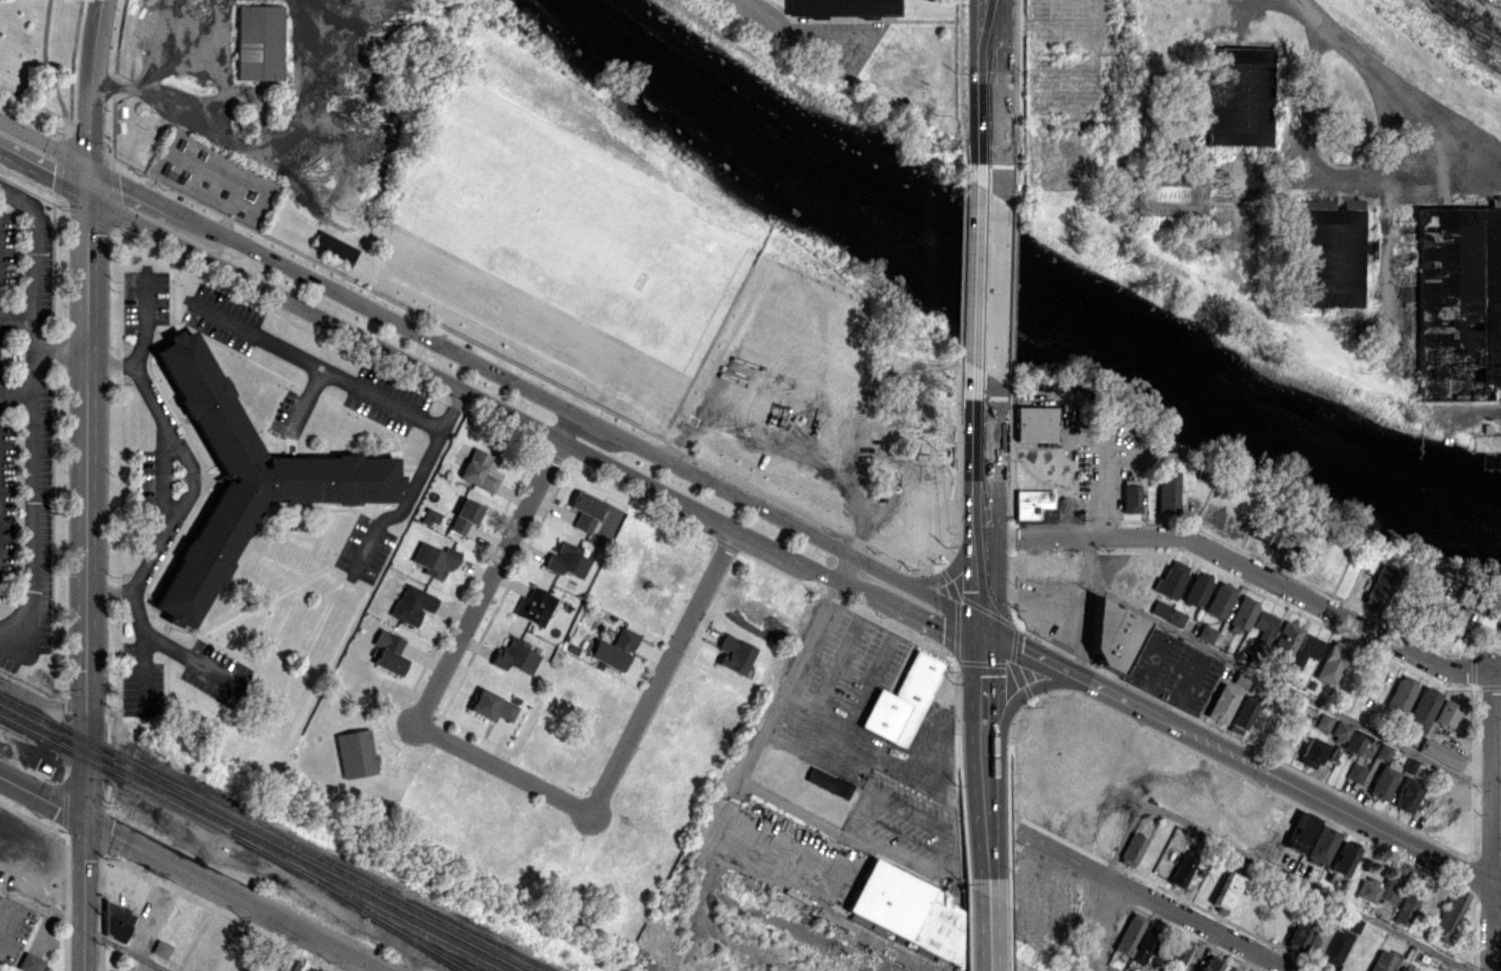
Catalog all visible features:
building: (845, 5)
road: (798, 27)
building: (258, 41)
park: (41, 58)
road: (1399, 78)
road: (990, 82)
building: (1240, 90)
road: (90, 99)
road: (44, 142)
traffic signals: (88, 165)
road: (44, 176)
road: (137, 189)
building: (1168, 193)
traffic signals: (88, 199)
park: (550, 241)
building: (1331, 246)
building: (333, 248)
road: (34, 261)
road: (987, 282)
river: (1028, 289)
building: (1460, 294)
road: (17, 318)
road: (140, 341)
road: (61, 351)
road: (316, 364)
road: (17, 391)
road: (481, 399)
road: (586, 420)
building: (1032, 423)
road: (984, 459)
building: (1166, 459)
building: (476, 470)
building: (239, 476)
road: (413, 479)
building: (1166, 492)
road: (35, 496)
road: (163, 496)
building: (1128, 498)
building: (1029, 502)
building: (584, 511)
building: (463, 515)
building: (429, 516)
building: (434, 559)
road: (956, 563)
road: (493, 568)
road: (1250, 570)
road: (983, 575)
building: (1169, 578)
road: (86, 584)
building: (1381, 586)
building: (1195, 588)
building: (1218, 599)
building: (411, 604)
building: (534, 606)
road: (1083, 607)
building: (1158, 609)
building: (1241, 612)
building: (1174, 617)
building: (1449, 620)
road: (927, 622)
building: (1261, 628)
traffic signals: (983, 631)
building: (1204, 632)
building: (1498, 632)
building: (1109, 633)
road: (160, 639)
building: (1283, 641)
building: (613, 649)
building: (1304, 649)
building: (388, 651)
building: (733, 654)
building: (514, 655)
building: (1330, 662)
road: (145, 665)
road: (834, 669)
road: (662, 670)
road: (1070, 674)
building: (1239, 679)
road: (868, 686)
road: (1287, 688)
road: (982, 689)
building: (1399, 694)
building: (901, 700)
road: (1015, 700)
building: (1221, 702)
building: (491, 706)
building: (1421, 708)
building: (1446, 713)
building: (1239, 716)
building: (1322, 721)
building: (1338, 730)
building: (1353, 741)
road: (856, 743)
road: (921, 745)
building: (1308, 750)
building: (355, 753)
building: (1440, 754)
road: (502, 768)
road: (1495, 771)
building: (1354, 772)
building: (1383, 780)
building: (828, 782)
road: (745, 785)
building: (1406, 795)
road: (42, 796)
road: (1328, 803)
traffic signals: (85, 818)
road: (1489, 819)
road: (982, 821)
building: (1299, 832)
railway: (268, 833)
road: (747, 837)
railway: (257, 839)
railway: (248, 844)
building: (1321, 845)
building: (1131, 849)
road: (915, 856)
building: (1342, 858)
building: (1180, 870)
building: (1393, 881)
road: (1103, 883)
road: (1307, 888)
building: (1366, 889)
building: (1225, 890)
road: (233, 894)
building: (898, 901)
road: (1160, 903)
railway: (351, 904)
building: (1450, 910)
building: (1403, 911)
building: (116, 922)
building: (865, 923)
building: (1353, 925)
road: (84, 927)
road: (983, 932)
building: (1297, 935)
building: (1134, 939)
railway: (416, 942)
building: (1327, 943)
building: (160, 949)
building: (1176, 954)
building: (1383, 960)
building: (30, 962)
building: (1209, 963)
building: (287, 965)
road: (1097, 967)
building: (1226, 968)
building: (1399, 969)

